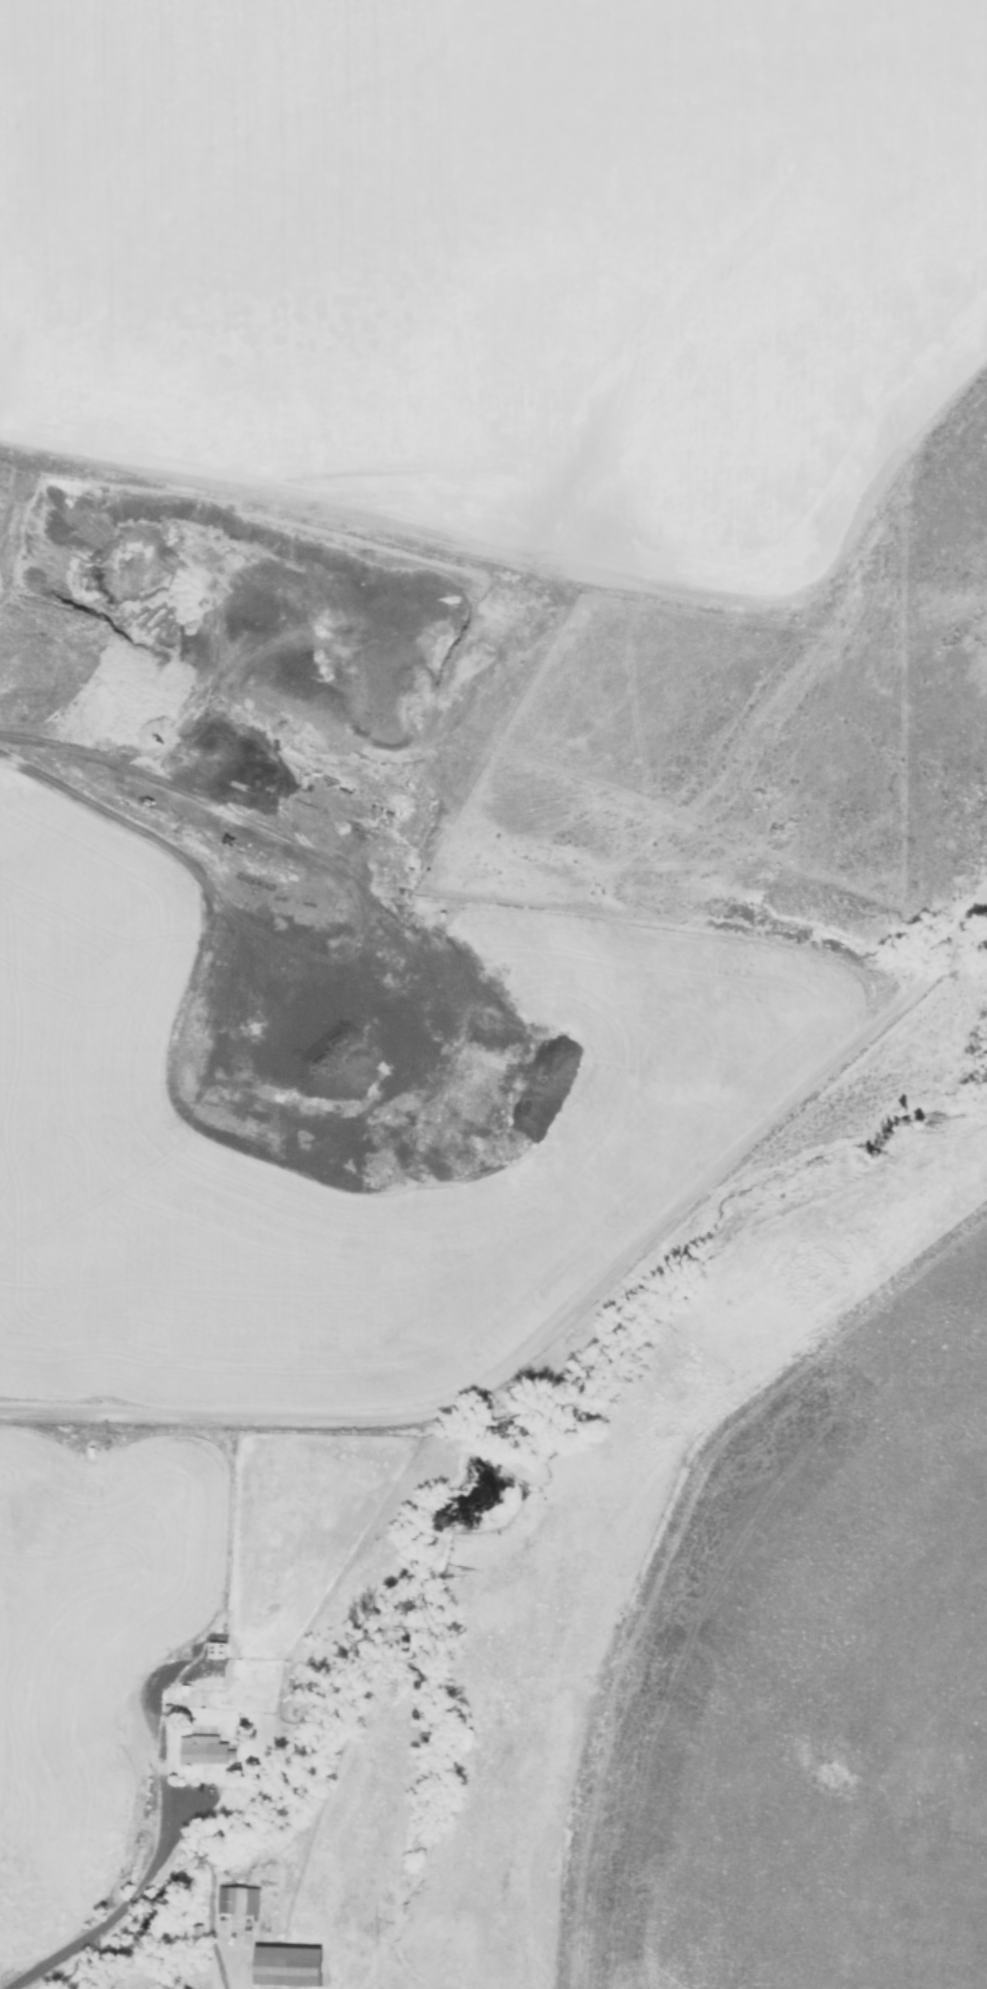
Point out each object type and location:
building: (200, 1750)
building: (237, 1900)
road: (107, 1905)
building: (197, 1932)
building: (285, 1966)

